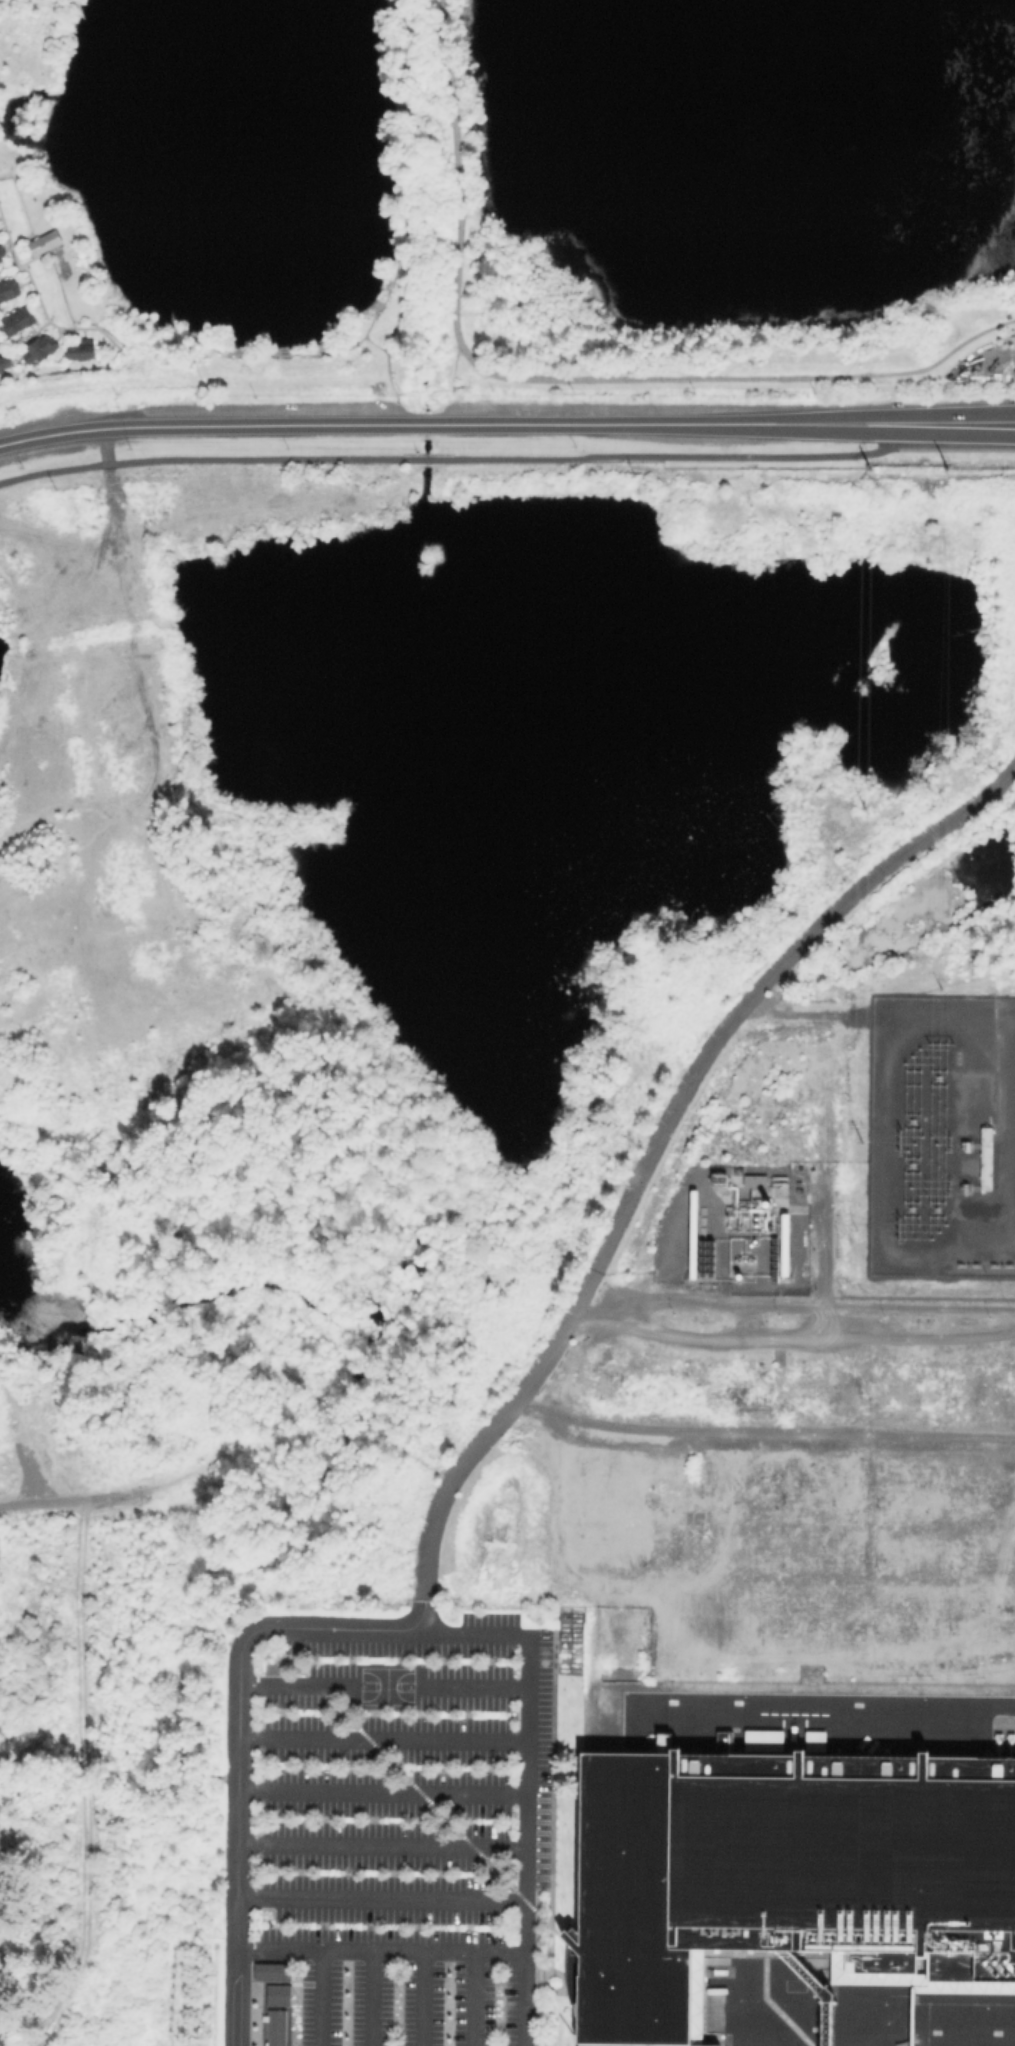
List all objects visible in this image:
park: (566, 187)
road: (403, 220)
road: (8, 241)
building: (43, 242)
building: (1, 252)
building: (7, 288)
building: (15, 319)
road: (48, 319)
building: (37, 348)
building: (79, 349)
building: (3, 361)
building: (0, 370)
road: (564, 379)
road: (451, 381)
road: (506, 425)
road: (104, 446)
road: (455, 460)
power substation: (943, 1136)
road: (649, 1153)
building: (757, 1183)
road: (791, 1336)
road: (761, 1438)
road: (834, 1703)
road: (239, 1762)
road: (550, 1777)
road: (410, 1780)
road: (527, 1781)
building: (787, 1879)
road: (534, 1890)
road: (559, 1927)
road: (534, 1943)
road: (382, 1949)
road: (549, 1956)
building: (273, 1972)
building: (279, 1995)
road: (533, 2004)
building: (277, 2028)
building: (822, 2044)
building: (912, 2045)

